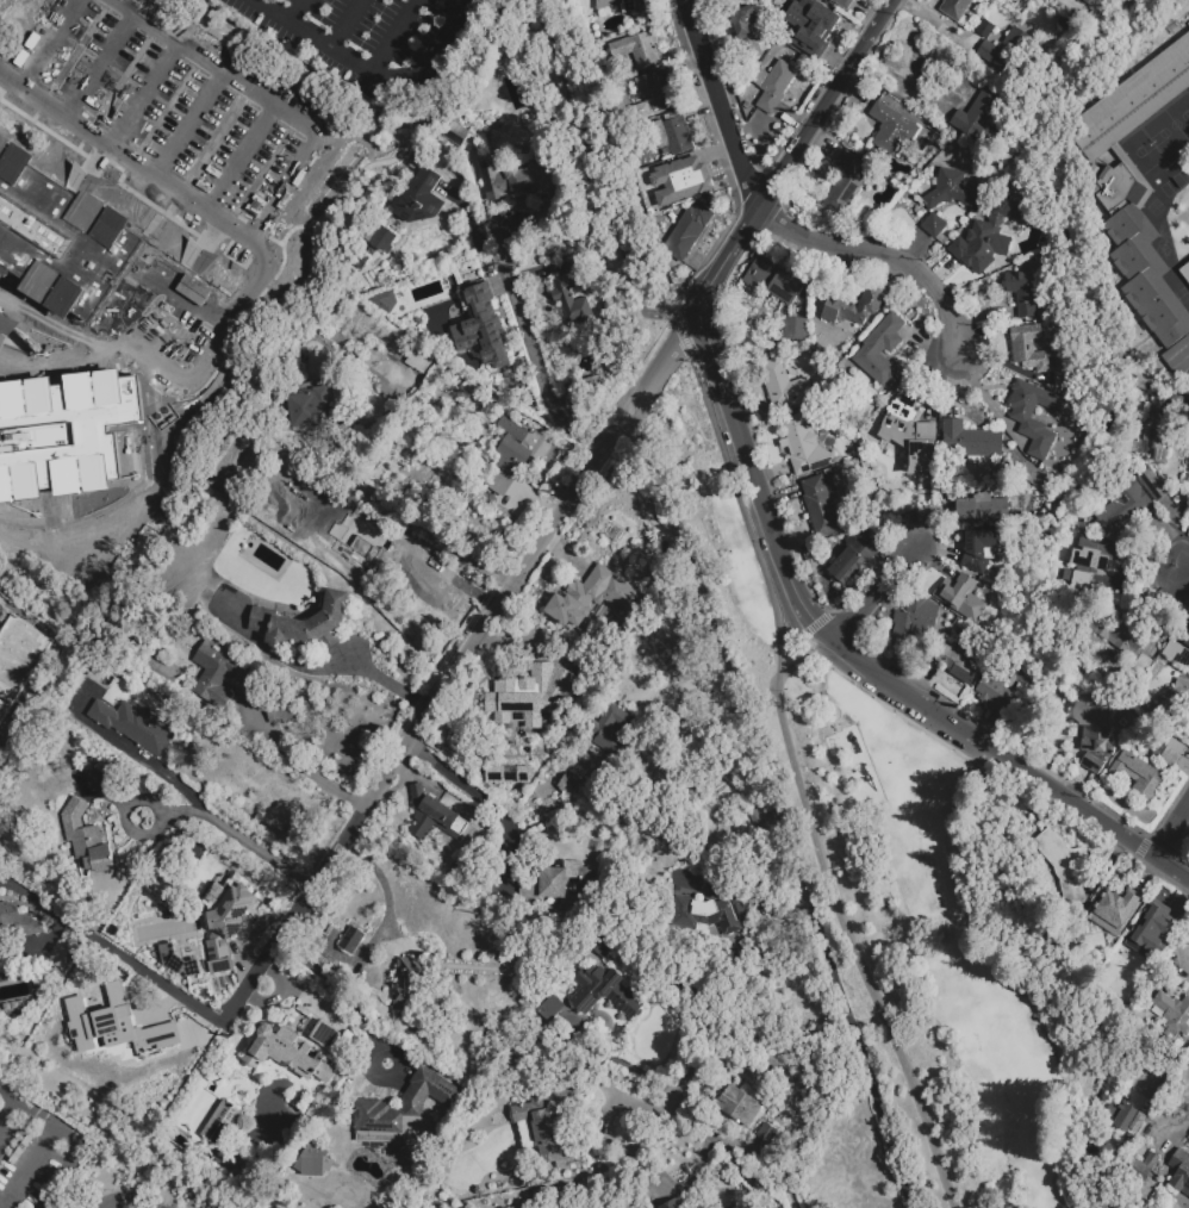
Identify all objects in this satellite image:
building: (843, 4)
building: (1090, 4)
building: (631, 7)
building: (58, 10)
building: (957, 10)
road: (298, 12)
building: (1172, 19)
road: (348, 25)
building: (813, 27)
building: (985, 32)
building: (749, 33)
road: (396, 38)
road: (52, 45)
building: (647, 52)
building: (1004, 57)
road: (101, 62)
road: (223, 62)
road: (300, 63)
road: (371, 75)
road: (11, 82)
building: (774, 88)
road: (143, 89)
building: (659, 89)
road: (566, 96)
building: (1133, 105)
road: (721, 106)
road: (183, 116)
parking lot: (194, 116)
building: (979, 123)
building: (892, 131)
building: (456, 135)
building: (678, 136)
road: (225, 143)
building: (0, 156)
road: (792, 156)
building: (1129, 162)
road: (262, 167)
road: (147, 170)
building: (519, 181)
building: (680, 181)
road: (281, 182)
building: (1015, 183)
building: (846, 187)
building: (951, 193)
road: (337, 195)
building: (421, 201)
building: (994, 228)
building: (935, 229)
building: (687, 231)
building: (381, 238)
road: (888, 255)
building: (1143, 255)
building: (1184, 273)
building: (772, 284)
building: (1031, 284)
building: (564, 292)
building: (385, 300)
building: (854, 310)
building: (911, 316)
road: (685, 320)
building: (477, 325)
road: (239, 332)
building: (796, 332)
building: (69, 337)
road: (533, 350)
building: (883, 354)
building: (1040, 356)
building: (1178, 357)
building: (419, 361)
road: (191, 379)
building: (786, 388)
building: (318, 412)
building: (1027, 424)
building: (911, 432)
building: (1157, 432)
building: (970, 442)
building: (808, 443)
building: (516, 457)
building: (1032, 469)
building: (1153, 487)
building: (984, 506)
building: (1122, 508)
building: (821, 509)
road: (431, 528)
building: (56, 548)
building: (981, 553)
building: (950, 554)
building: (853, 562)
building: (87, 563)
road: (1187, 567)
building: (1083, 573)
road: (791, 575)
road: (872, 594)
building: (960, 597)
building: (593, 599)
parking lot: (0, 600)
building: (915, 624)
building: (305, 625)
road: (798, 633)
building: (1116, 639)
building: (1187, 646)
building: (1177, 656)
building: (19, 664)
building: (959, 667)
road: (315, 668)
building: (218, 677)
building: (995, 689)
road: (438, 698)
building: (529, 699)
building: (1170, 703)
building: (280, 714)
building: (136, 728)
building: (602, 731)
building: (1094, 736)
building: (1174, 755)
road: (309, 762)
road: (151, 766)
road: (1013, 767)
building: (106, 770)
road: (796, 772)
building: (508, 773)
road: (412, 774)
building: (1138, 774)
building: (569, 787)
road: (467, 792)
road: (107, 793)
building: (653, 801)
building: (435, 818)
road: (778, 822)
road: (1106, 827)
road: (130, 828)
road: (1172, 834)
road: (241, 840)
building: (87, 841)
building: (1064, 868)
building: (562, 885)
building: (230, 889)
building: (759, 901)
building: (1113, 914)
building: (710, 915)
building: (224, 920)
building: (18, 922)
road: (381, 924)
building: (1152, 939)
building: (351, 944)
building: (603, 947)
building: (4, 948)
road: (112, 951)
road: (1178, 952)
park: (957, 954)
building: (174, 963)
road: (1015, 975)
building: (412, 983)
road: (340, 988)
building: (605, 994)
building: (552, 1011)
building: (1172, 1011)
building: (107, 1025)
building: (323, 1035)
road: (860, 1050)
building: (286, 1054)
road: (617, 1059)
building: (774, 1060)
road: (1166, 1070)
building: (609, 1078)
building: (404, 1108)
building: (740, 1108)
road: (611, 1109)
road: (7, 1113)
building: (549, 1121)
building: (1129, 1121)
building: (220, 1123)
building: (182, 1134)
road: (70, 1135)
building: (767, 1137)
road: (762, 1157)
road: (31, 1166)
road: (695, 1167)
building: (1140, 1169)
building: (1181, 1173)
road: (543, 1187)
road: (120, 1203)
building: (665, 1207)

